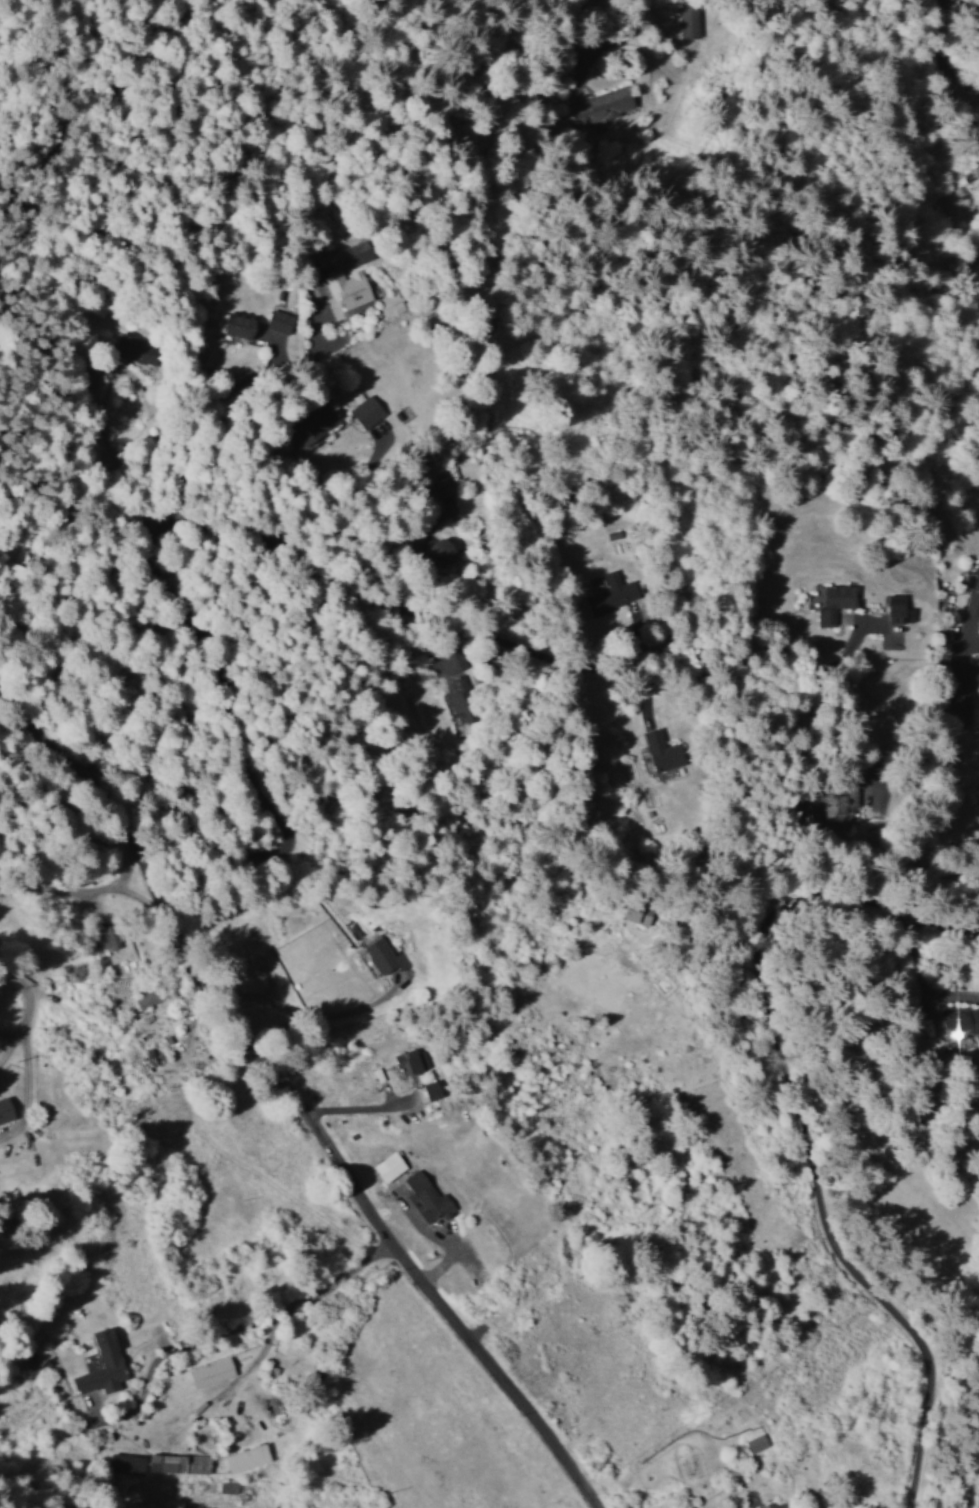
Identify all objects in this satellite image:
building: (687, 21)
road: (952, 49)
building: (604, 106)
building: (349, 288)
building: (280, 321)
building: (240, 325)
building: (366, 411)
building: (317, 427)
road: (194, 528)
building: (609, 593)
building: (973, 596)
building: (830, 600)
building: (899, 613)
road: (688, 624)
building: (453, 662)
building: (459, 698)
building: (662, 751)
road: (58, 780)
building: (844, 808)
building: (637, 913)
building: (384, 955)
building: (146, 999)
building: (960, 1022)
building: (407, 1061)
road: (126, 1077)
building: (433, 1092)
road: (283, 1094)
road: (799, 1121)
building: (389, 1166)
building: (428, 1197)
building: (102, 1364)
building: (211, 1372)
building: (755, 1442)
building: (247, 1457)
building: (126, 1463)
building: (178, 1463)
road: (11, 1500)
building: (774, 1505)

